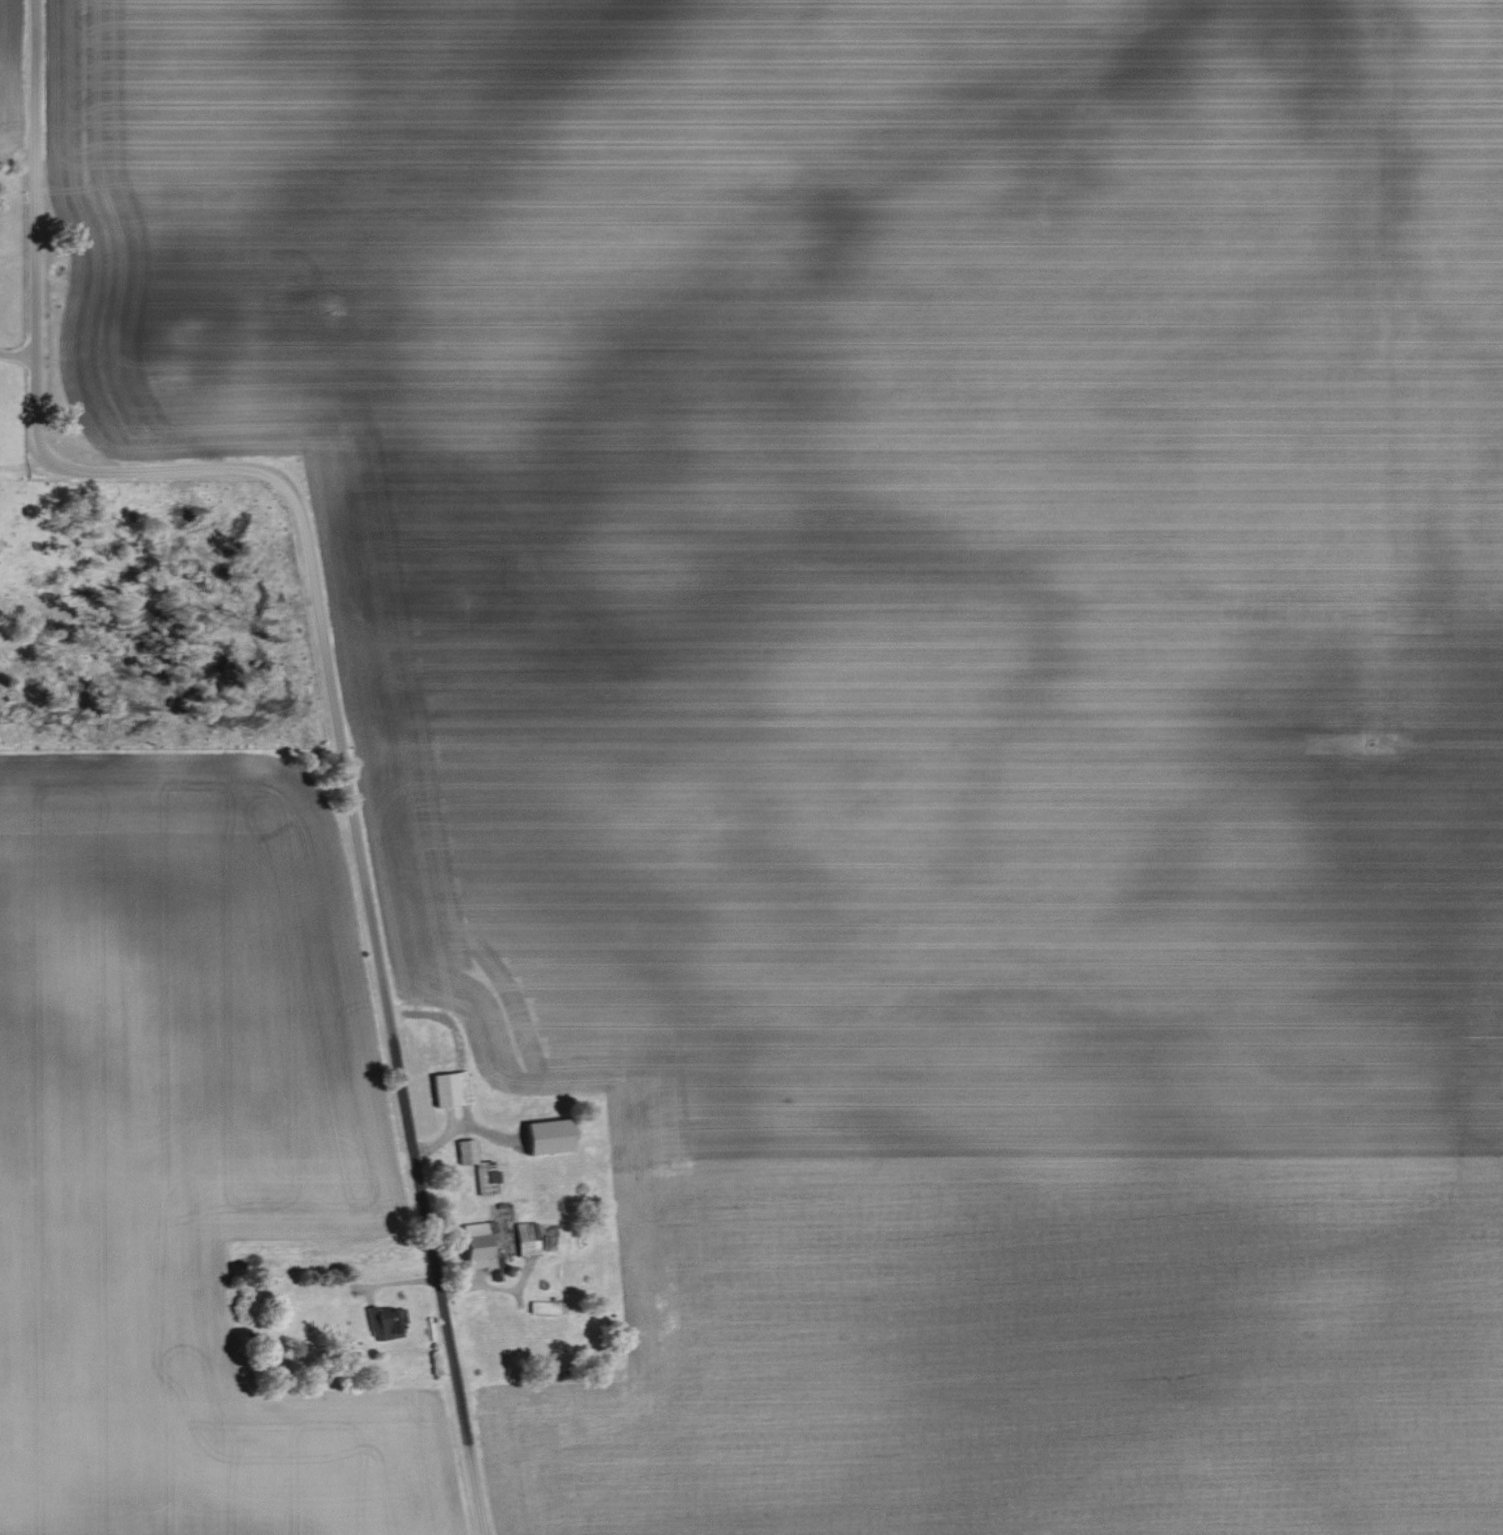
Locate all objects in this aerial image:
road: (17, 353)
road: (16, 452)
road: (323, 655)
building: (452, 1087)
building: (555, 1131)
building: (528, 1236)
building: (480, 1243)

